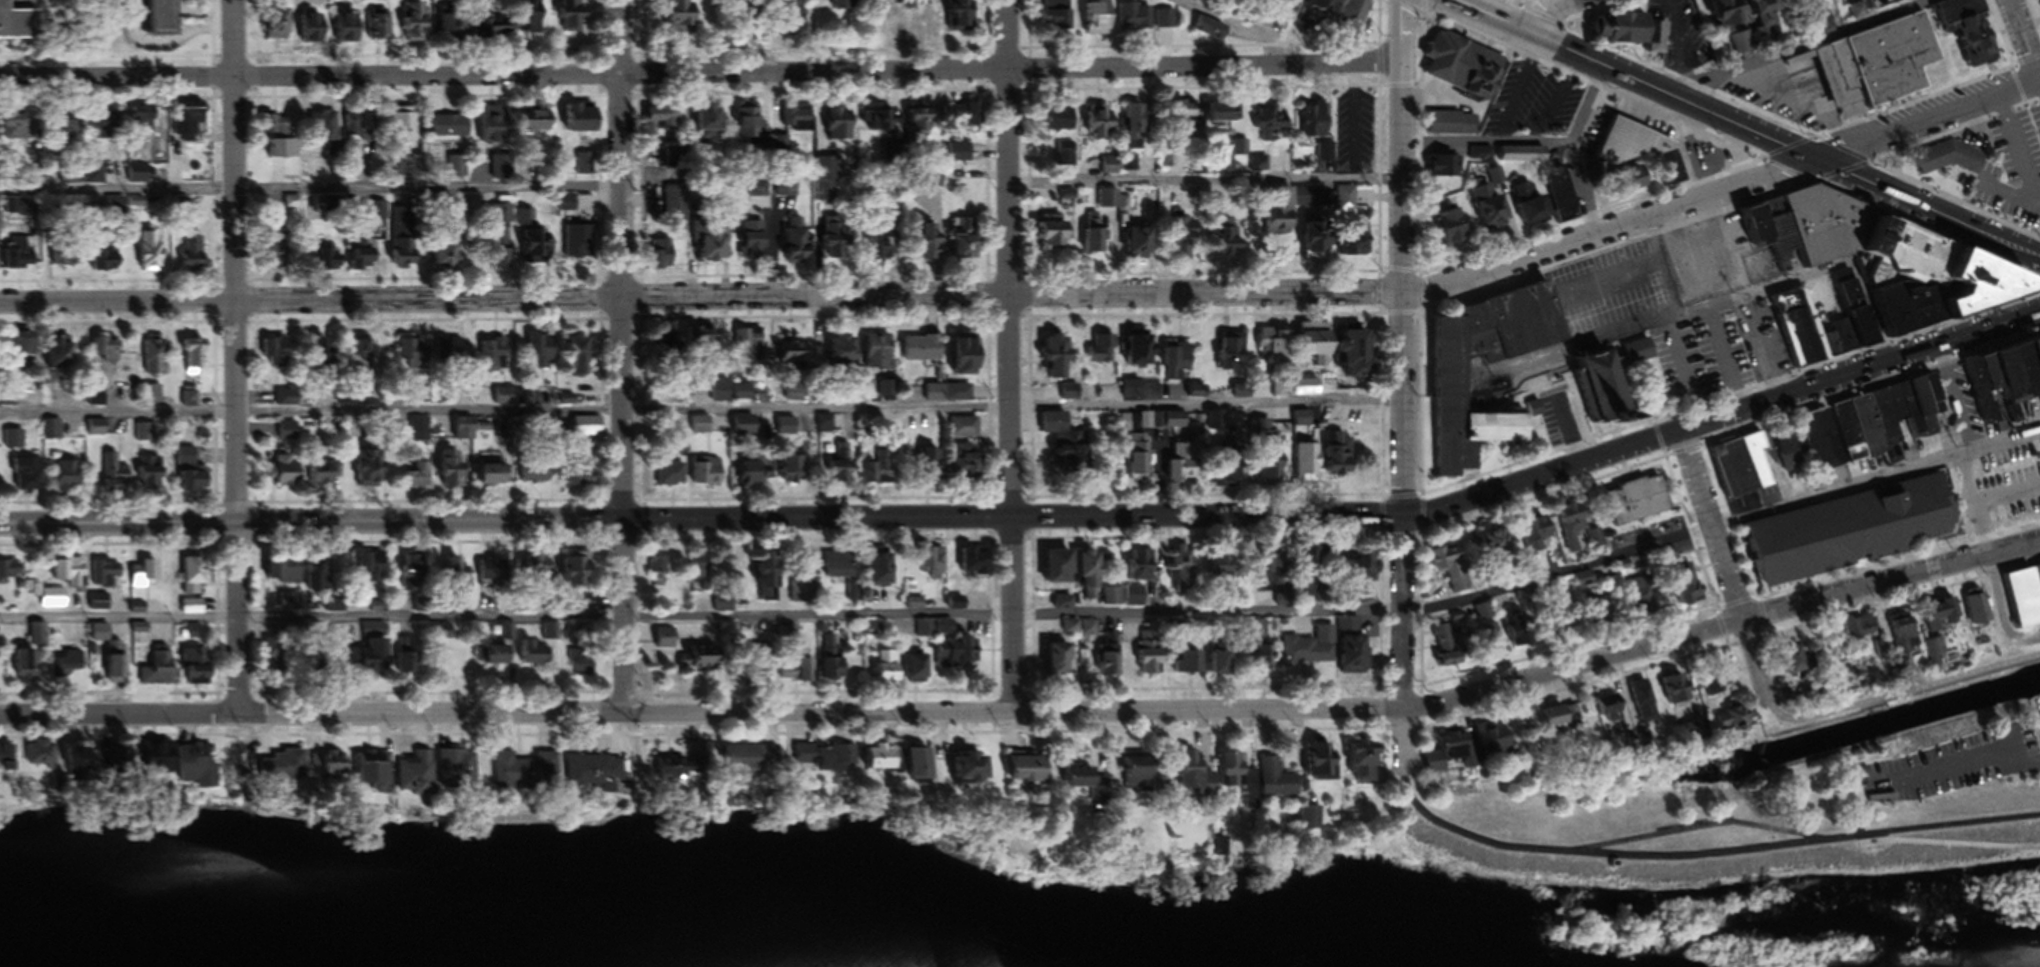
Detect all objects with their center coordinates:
building: (1915, 0)
building: (920, 2)
building: (1325, 5)
building: (848, 6)
road: (1541, 14)
building: (1857, 14)
building: (1358, 15)
building: (964, 16)
building: (1053, 16)
building: (573, 17)
building: (684, 17)
building: (166, 19)
building: (1100, 19)
building: (1135, 19)
building: (1165, 22)
building: (520, 23)
building: (19, 25)
building: (278, 26)
building: (417, 26)
building: (454, 26)
building: (381, 27)
road: (1235, 27)
building: (1750, 27)
building: (350, 29)
building: (314, 30)
building: (1211, 31)
building: (1636, 34)
building: (1972, 34)
road: (2023, 40)
road: (1800, 46)
building: (1881, 66)
building: (1464, 70)
road: (700, 73)
road: (2039, 82)
parking lot: (1791, 90)
parking lot: (1533, 101)
road: (1792, 105)
road: (1585, 107)
building: (1186, 115)
building: (1224, 115)
building: (965, 118)
building: (582, 121)
road: (1355, 121)
building: (191, 122)
building: (796, 122)
building: (144, 123)
building: (880, 123)
building: (919, 123)
building: (1060, 123)
building: (1270, 123)
building: (1100, 125)
building: (1141, 125)
building: (359, 126)
building: (708, 126)
building: (1315, 126)
parking lot: (1356, 127)
building: (751, 128)
building: (839, 128)
building: (1454, 128)
building: (67, 130)
building: (104, 130)
building: (325, 130)
building: (450, 130)
building: (494, 130)
building: (21, 131)
road: (1748, 131)
building: (405, 134)
building: (534, 135)
building: (280, 142)
road: (1484, 146)
road: (2019, 148)
building: (1645, 153)
building: (959, 156)
building: (1325, 156)
building: (1481, 158)
building: (1949, 162)
parking lot: (2014, 164)
building: (583, 167)
building: (1445, 170)
building: (502, 172)
building: (97, 177)
building: (140, 178)
road: (1204, 185)
road: (1582, 191)
road: (310, 195)
road: (2009, 197)
building: (1345, 204)
building: (1492, 206)
building: (675, 207)
building: (1566, 207)
building: (1533, 210)
building: (1287, 214)
building: (1837, 229)
building: (1454, 231)
road: (1671, 231)
building: (1224, 235)
building: (1186, 237)
building: (1054, 238)
building: (1095, 238)
building: (500, 240)
building: (712, 242)
building: (531, 243)
building: (835, 243)
building: (1321, 243)
building: (773, 244)
building: (578, 245)
building: (1139, 245)
building: (883, 248)
building: (966, 248)
building: (1359, 248)
building: (930, 249)
building: (150, 254)
building: (363, 254)
building: (193, 255)
building: (276, 255)
building: (405, 256)
building: (1928, 256)
building: (19, 257)
building: (662, 257)
building: (68, 259)
building: (108, 261)
building: (324, 261)
building: (449, 261)
road: (1644, 266)
building: (1989, 287)
parking lot: (1619, 288)
road: (1037, 294)
road: (1739, 299)
road: (1679, 317)
building: (753, 348)
building: (1316, 349)
building: (1273, 350)
building: (1140, 351)
building: (2038, 351)
building: (23, 352)
building: (106, 353)
building: (922, 353)
building: (454, 354)
building: (1101, 354)
parking lot: (1705, 354)
building: (276, 355)
building: (1231, 355)
building: (1639, 355)
road: (236, 356)
building: (361, 356)
building: (542, 356)
road: (621, 356)
building: (878, 356)
road: (1009, 356)
building: (793, 357)
building: (843, 357)
building: (63, 358)
building: (1357, 358)
building: (491, 360)
building: (969, 360)
building: (155, 361)
building: (195, 361)
building: (579, 361)
building: (1058, 361)
building: (1175, 365)
building: (418, 371)
building: (1452, 382)
road: (1401, 388)
building: (2003, 388)
building: (1608, 389)
building: (885, 392)
building: (729, 396)
building: (948, 396)
building: (152, 398)
building: (510, 401)
building: (190, 402)
building: (287, 402)
building: (95, 403)
building: (1561, 405)
road: (700, 412)
building: (1175, 424)
building: (826, 427)
building: (1872, 427)
building: (700, 428)
building: (465, 429)
building: (745, 429)
building: (786, 430)
building: (97, 431)
building: (587, 431)
building: (964, 431)
building: (51, 433)
building: (418, 434)
building: (145, 436)
building: (13, 443)
building: (1067, 444)
building: (1338, 457)
building: (1137, 458)
building: (186, 460)
building: (1272, 460)
building: (1172, 464)
building: (1760, 465)
building: (1307, 466)
building: (969, 467)
building: (841, 468)
building: (933, 468)
building: (878, 472)
building: (288, 473)
building: (453, 474)
building: (793, 474)
building: (707, 475)
building: (324, 476)
building: (371, 476)
building: (535, 476)
building: (68, 477)
building: (754, 477)
building: (27, 478)
building: (113, 478)
building: (151, 478)
building: (494, 478)
building: (671, 478)
building: (1227, 478)
building: (582, 479)
building: (417, 481)
parking lot: (1996, 481)
building: (197, 485)
road: (2007, 500)
building: (1639, 504)
road: (1973, 509)
road: (1035, 515)
road: (1711, 526)
building: (1875, 526)
building: (1575, 531)
building: (1537, 537)
building: (1494, 547)
building: (974, 565)
building: (1774, 565)
building: (657, 567)
building: (932, 567)
building: (1141, 569)
building: (838, 570)
building: (1061, 570)
building: (372, 571)
building: (514, 571)
building: (1182, 571)
building: (14, 572)
building: (1223, 572)
building: (880, 573)
building: (1448, 573)
building: (285, 574)
building: (578, 574)
building: (1350, 575)
building: (0, 576)
building: (75, 576)
building: (105, 576)
building: (141, 577)
building: (194, 578)
building: (415, 578)
building: (457, 579)
building: (1091, 579)
road: (1890, 579)
building: (765, 581)
building: (327, 583)
building: (1583, 583)
building: (1274, 585)
building: (1688, 587)
building: (801, 597)
building: (1641, 598)
building: (1112, 600)
building: (1134, 600)
building: (52, 601)
building: (2024, 603)
building: (723, 607)
building: (1594, 607)
building: (954, 608)
building: (1977, 610)
building: (1945, 612)
building: (1484, 616)
road: (1032, 620)
building: (1519, 630)
building: (1861, 632)
building: (373, 634)
building: (926, 635)
building: (1906, 638)
building: (1493, 644)
building: (1448, 650)
building: (1309, 652)
building: (1093, 653)
building: (534, 656)
building: (690, 656)
building: (1355, 657)
building: (374, 659)
building: (409, 659)
building: (497, 659)
building: (116, 660)
building: (273, 661)
building: (1263, 661)
building: (584, 663)
building: (1059, 664)
road: (1756, 664)
building: (1798, 664)
building: (1152, 665)
building: (833, 666)
building: (25, 667)
building: (1191, 667)
building: (1224, 667)
building: (66, 668)
building: (195, 670)
building: (888, 671)
building: (159, 672)
building: (916, 674)
building: (1676, 694)
road: (1902, 696)
building: (1643, 705)
road: (876, 712)
building: (1609, 712)
building: (1741, 719)
building: (1561, 720)
building: (1492, 740)
building: (1446, 755)
building: (40, 757)
road: (1959, 758)
building: (93, 759)
building: (120, 760)
building: (751, 760)
building: (158, 761)
building: (824, 761)
parking lot: (1956, 762)
building: (7, 763)
building: (880, 763)
building: (1320, 765)
building: (1361, 766)
building: (194, 767)
building: (329, 767)
building: (76, 768)
building: (283, 769)
building: (917, 770)
building: (679, 771)
building: (1024, 771)
building: (1228, 771)
building: (455, 772)
building: (965, 772)
building: (1187, 774)
building: (594, 775)
building: (372, 776)
building: (415, 776)
building: (524, 776)
building: (1133, 776)
building: (1078, 782)
building: (1273, 784)
building: (1308, 822)
road: (1694, 832)
park: (1737, 835)
road: (1703, 859)

